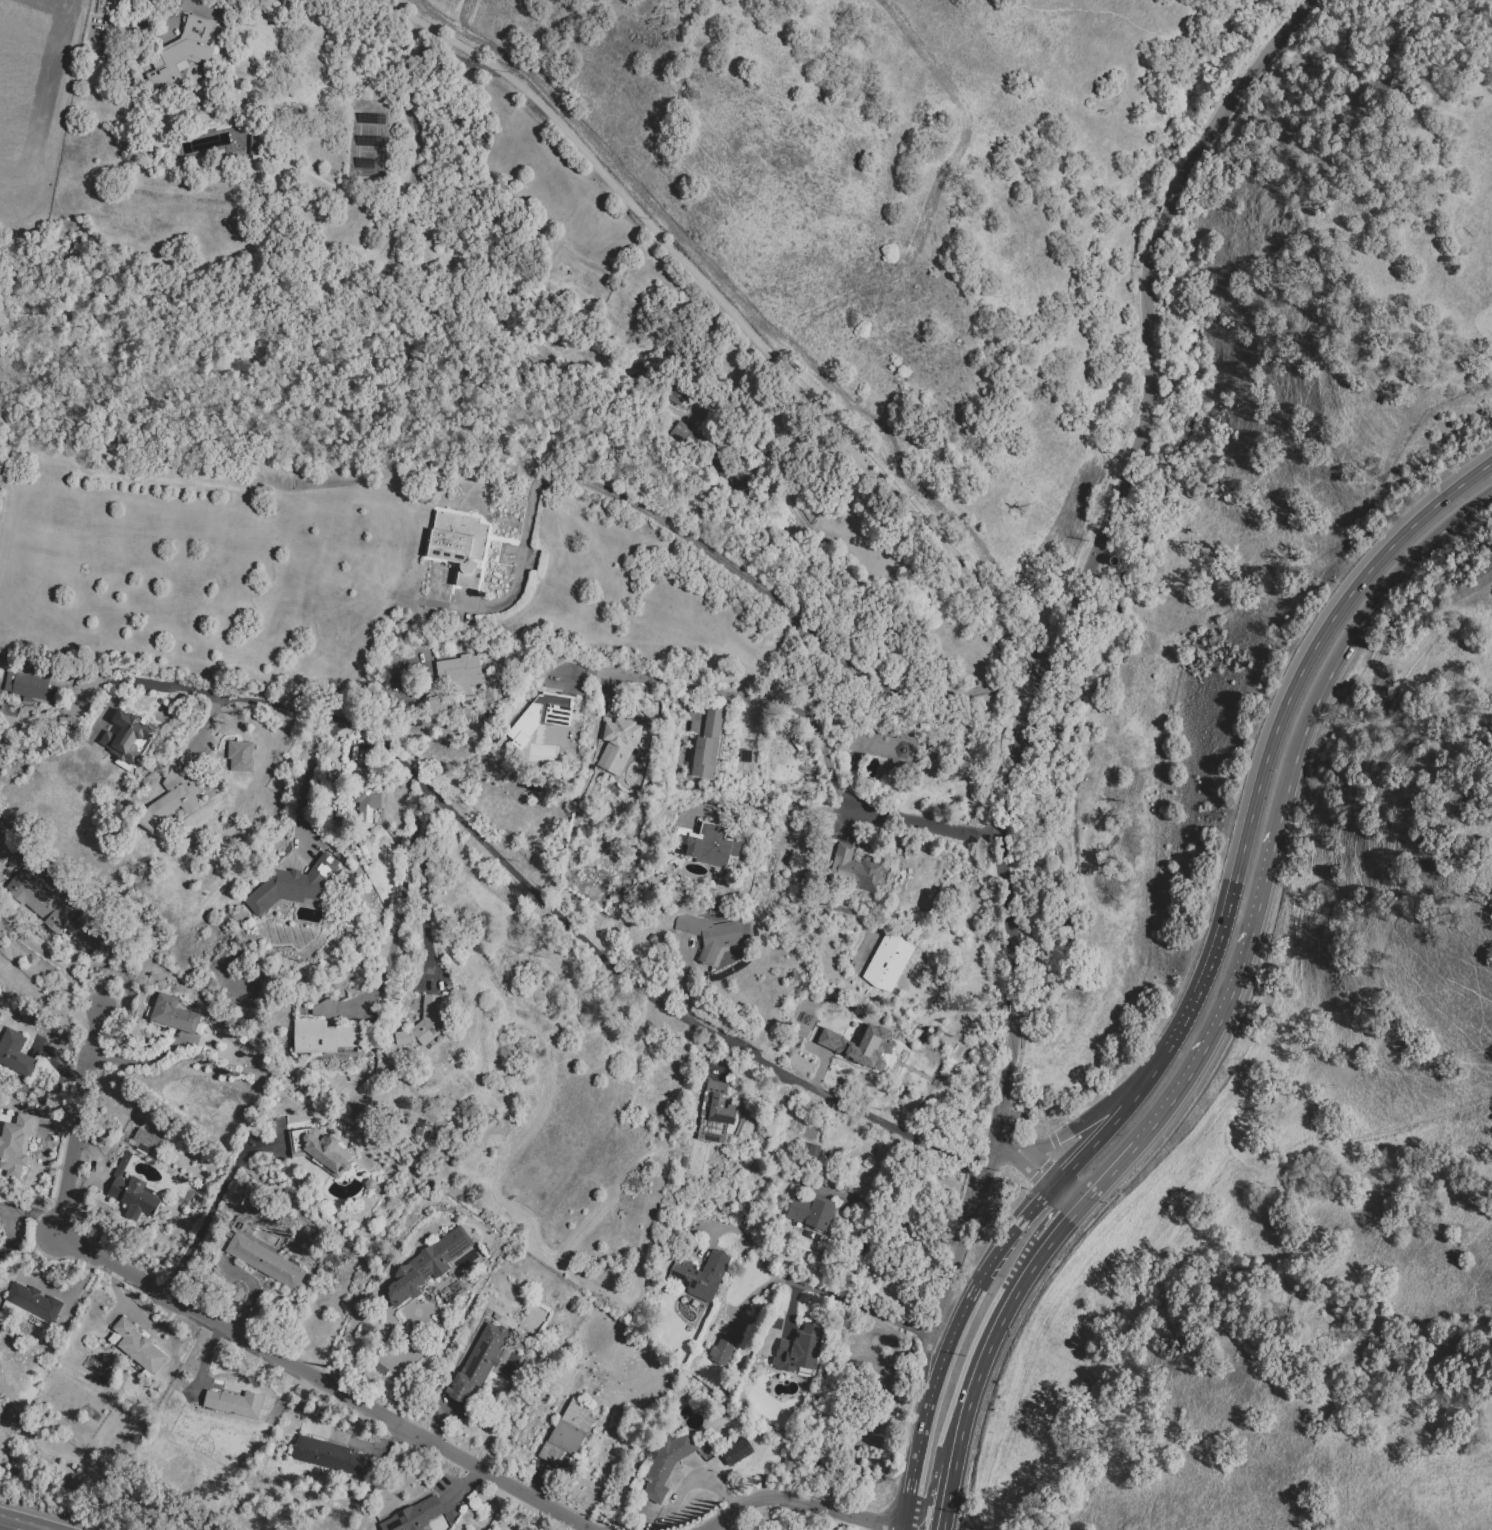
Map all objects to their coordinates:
road: (200, 5)
building: (185, 54)
road: (1238, 89)
road: (1166, 210)
road: (731, 314)
building: (671, 393)
road: (1147, 411)
building: (686, 436)
building: (720, 471)
building: (740, 481)
road: (688, 537)
building: (458, 545)
road: (816, 554)
building: (1113, 561)
road: (1352, 641)
building: (1, 654)
road: (403, 660)
building: (459, 674)
road: (93, 678)
building: (26, 686)
road: (611, 691)
road: (735, 697)
road: (1288, 700)
building: (440, 704)
road: (108, 707)
road: (696, 709)
building: (543, 715)
building: (417, 719)
road: (205, 731)
building: (126, 736)
building: (618, 742)
road: (339, 743)
building: (797, 744)
road: (357, 745)
building: (707, 745)
building: (884, 746)
building: (241, 755)
building: (744, 755)
road: (306, 777)
road: (1007, 778)
building: (332, 779)
road: (852, 784)
building: (368, 793)
building: (175, 796)
road: (756, 804)
road: (913, 824)
road: (849, 826)
building: (707, 844)
building: (762, 863)
building: (854, 869)
road: (421, 877)
road: (528, 885)
building: (292, 886)
building: (41, 899)
road: (809, 903)
road: (401, 905)
building: (709, 934)
building: (650, 937)
road: (1248, 945)
building: (887, 962)
road: (685, 979)
road: (67, 984)
building: (323, 1006)
road: (1014, 1008)
building: (175, 1017)
building: (423, 1023)
building: (227, 1024)
road: (1173, 1036)
building: (327, 1038)
building: (859, 1045)
building: (16, 1052)
road: (157, 1053)
road: (722, 1058)
road: (822, 1062)
road: (59, 1063)
road: (1005, 1081)
building: (715, 1112)
road: (55, 1124)
road: (1082, 1126)
road: (1106, 1128)
road: (1147, 1137)
building: (147, 1139)
road: (926, 1144)
building: (15, 1145)
building: (321, 1150)
building: (812, 1150)
road: (958, 1160)
road: (1025, 1160)
road: (88, 1178)
building: (370, 1184)
building: (133, 1193)
road: (1067, 1197)
road: (884, 1199)
road: (215, 1206)
building: (811, 1211)
road: (6, 1212)
road: (1017, 1224)
road: (710, 1226)
road: (1066, 1227)
building: (813, 1235)
road: (961, 1245)
road: (976, 1254)
building: (266, 1261)
building: (426, 1266)
building: (700, 1275)
road: (55, 1288)
road: (817, 1288)
road: (247, 1291)
road: (750, 1294)
road: (118, 1299)
road: (850, 1300)
building: (33, 1302)
road: (791, 1309)
road: (892, 1319)
road: (220, 1325)
building: (138, 1346)
building: (724, 1346)
road: (952, 1346)
road: (988, 1347)
building: (799, 1350)
road: (203, 1358)
road: (404, 1359)
building: (478, 1363)
building: (108, 1368)
building: (380, 1368)
building: (101, 1378)
road: (926, 1391)
building: (235, 1402)
road: (439, 1423)
building: (568, 1431)
road: (384, 1445)
building: (735, 1450)
building: (328, 1456)
building: (788, 1460)
building: (663, 1464)
road: (916, 1477)
road: (693, 1479)
road: (536, 1481)
road: (463, 1488)
road: (942, 1495)
road: (802, 1502)
building: (415, 1516)
road: (1, 1523)
road: (9, 1527)
road: (33, 1527)
road: (907, 1529)
road: (912, 1529)

